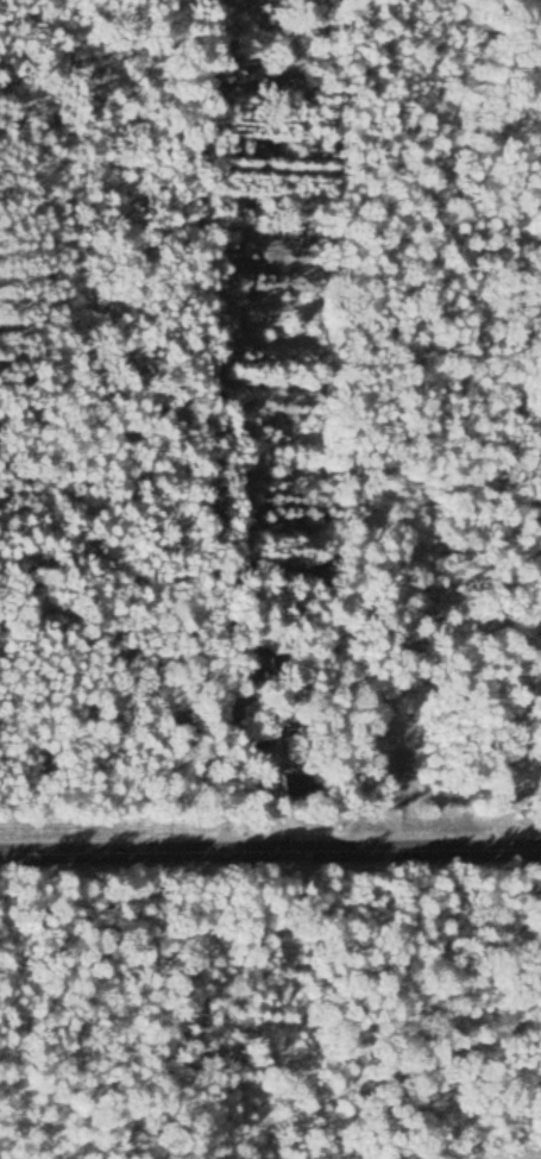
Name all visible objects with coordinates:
building: (246, 738)
building: (295, 785)
road: (270, 857)

